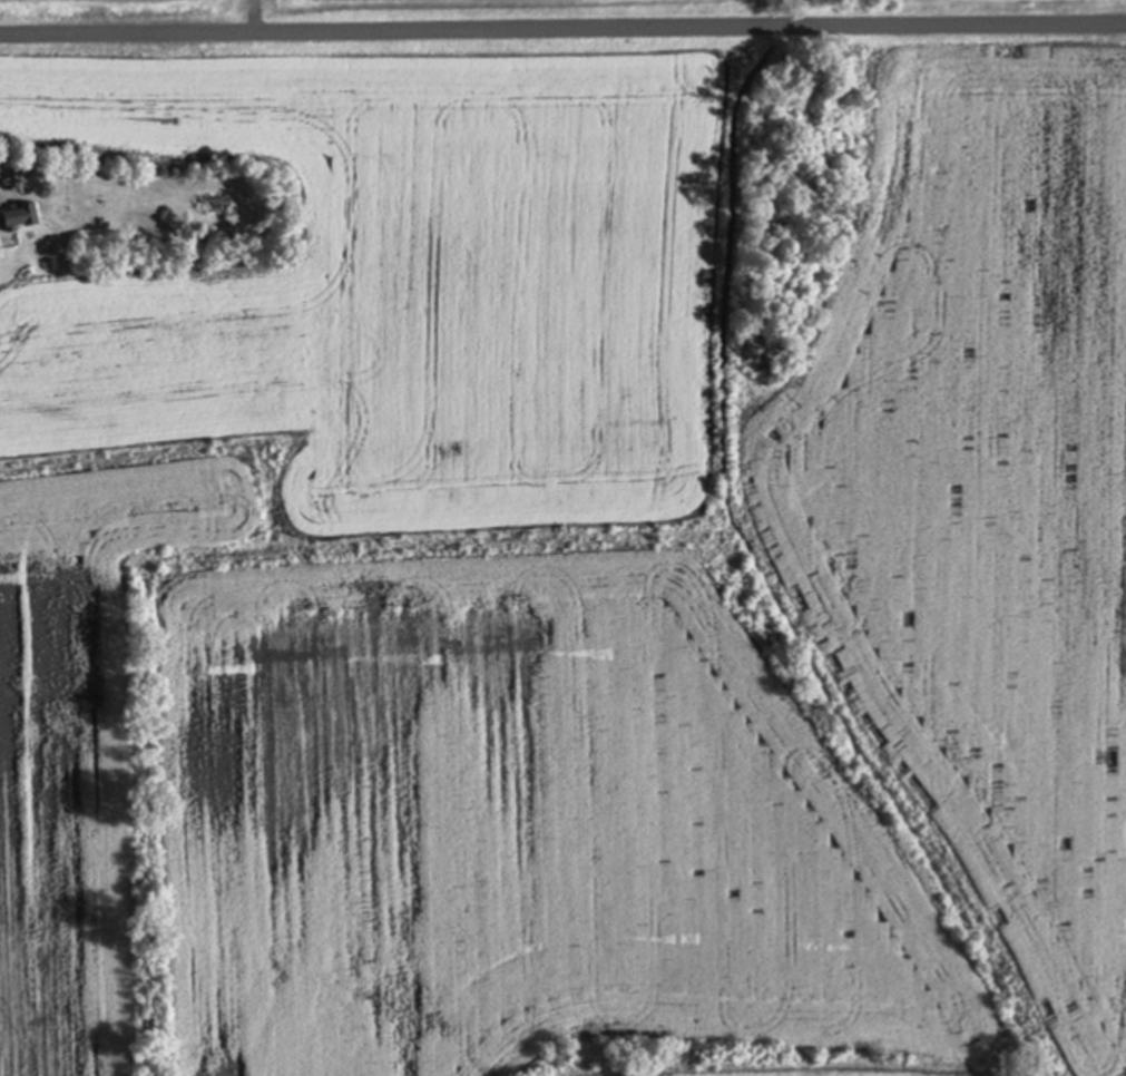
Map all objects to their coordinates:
road: (562, 30)
building: (18, 218)

